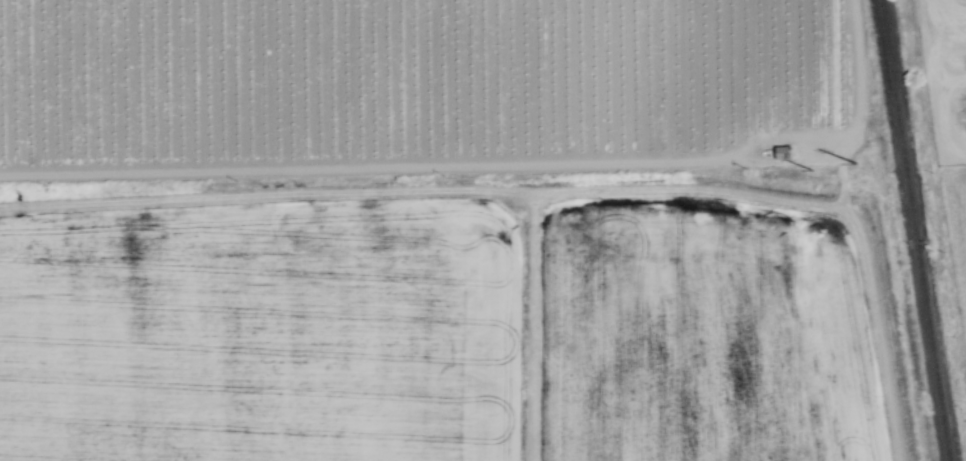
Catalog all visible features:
power tower: (814, 183)
railway: (921, 230)

